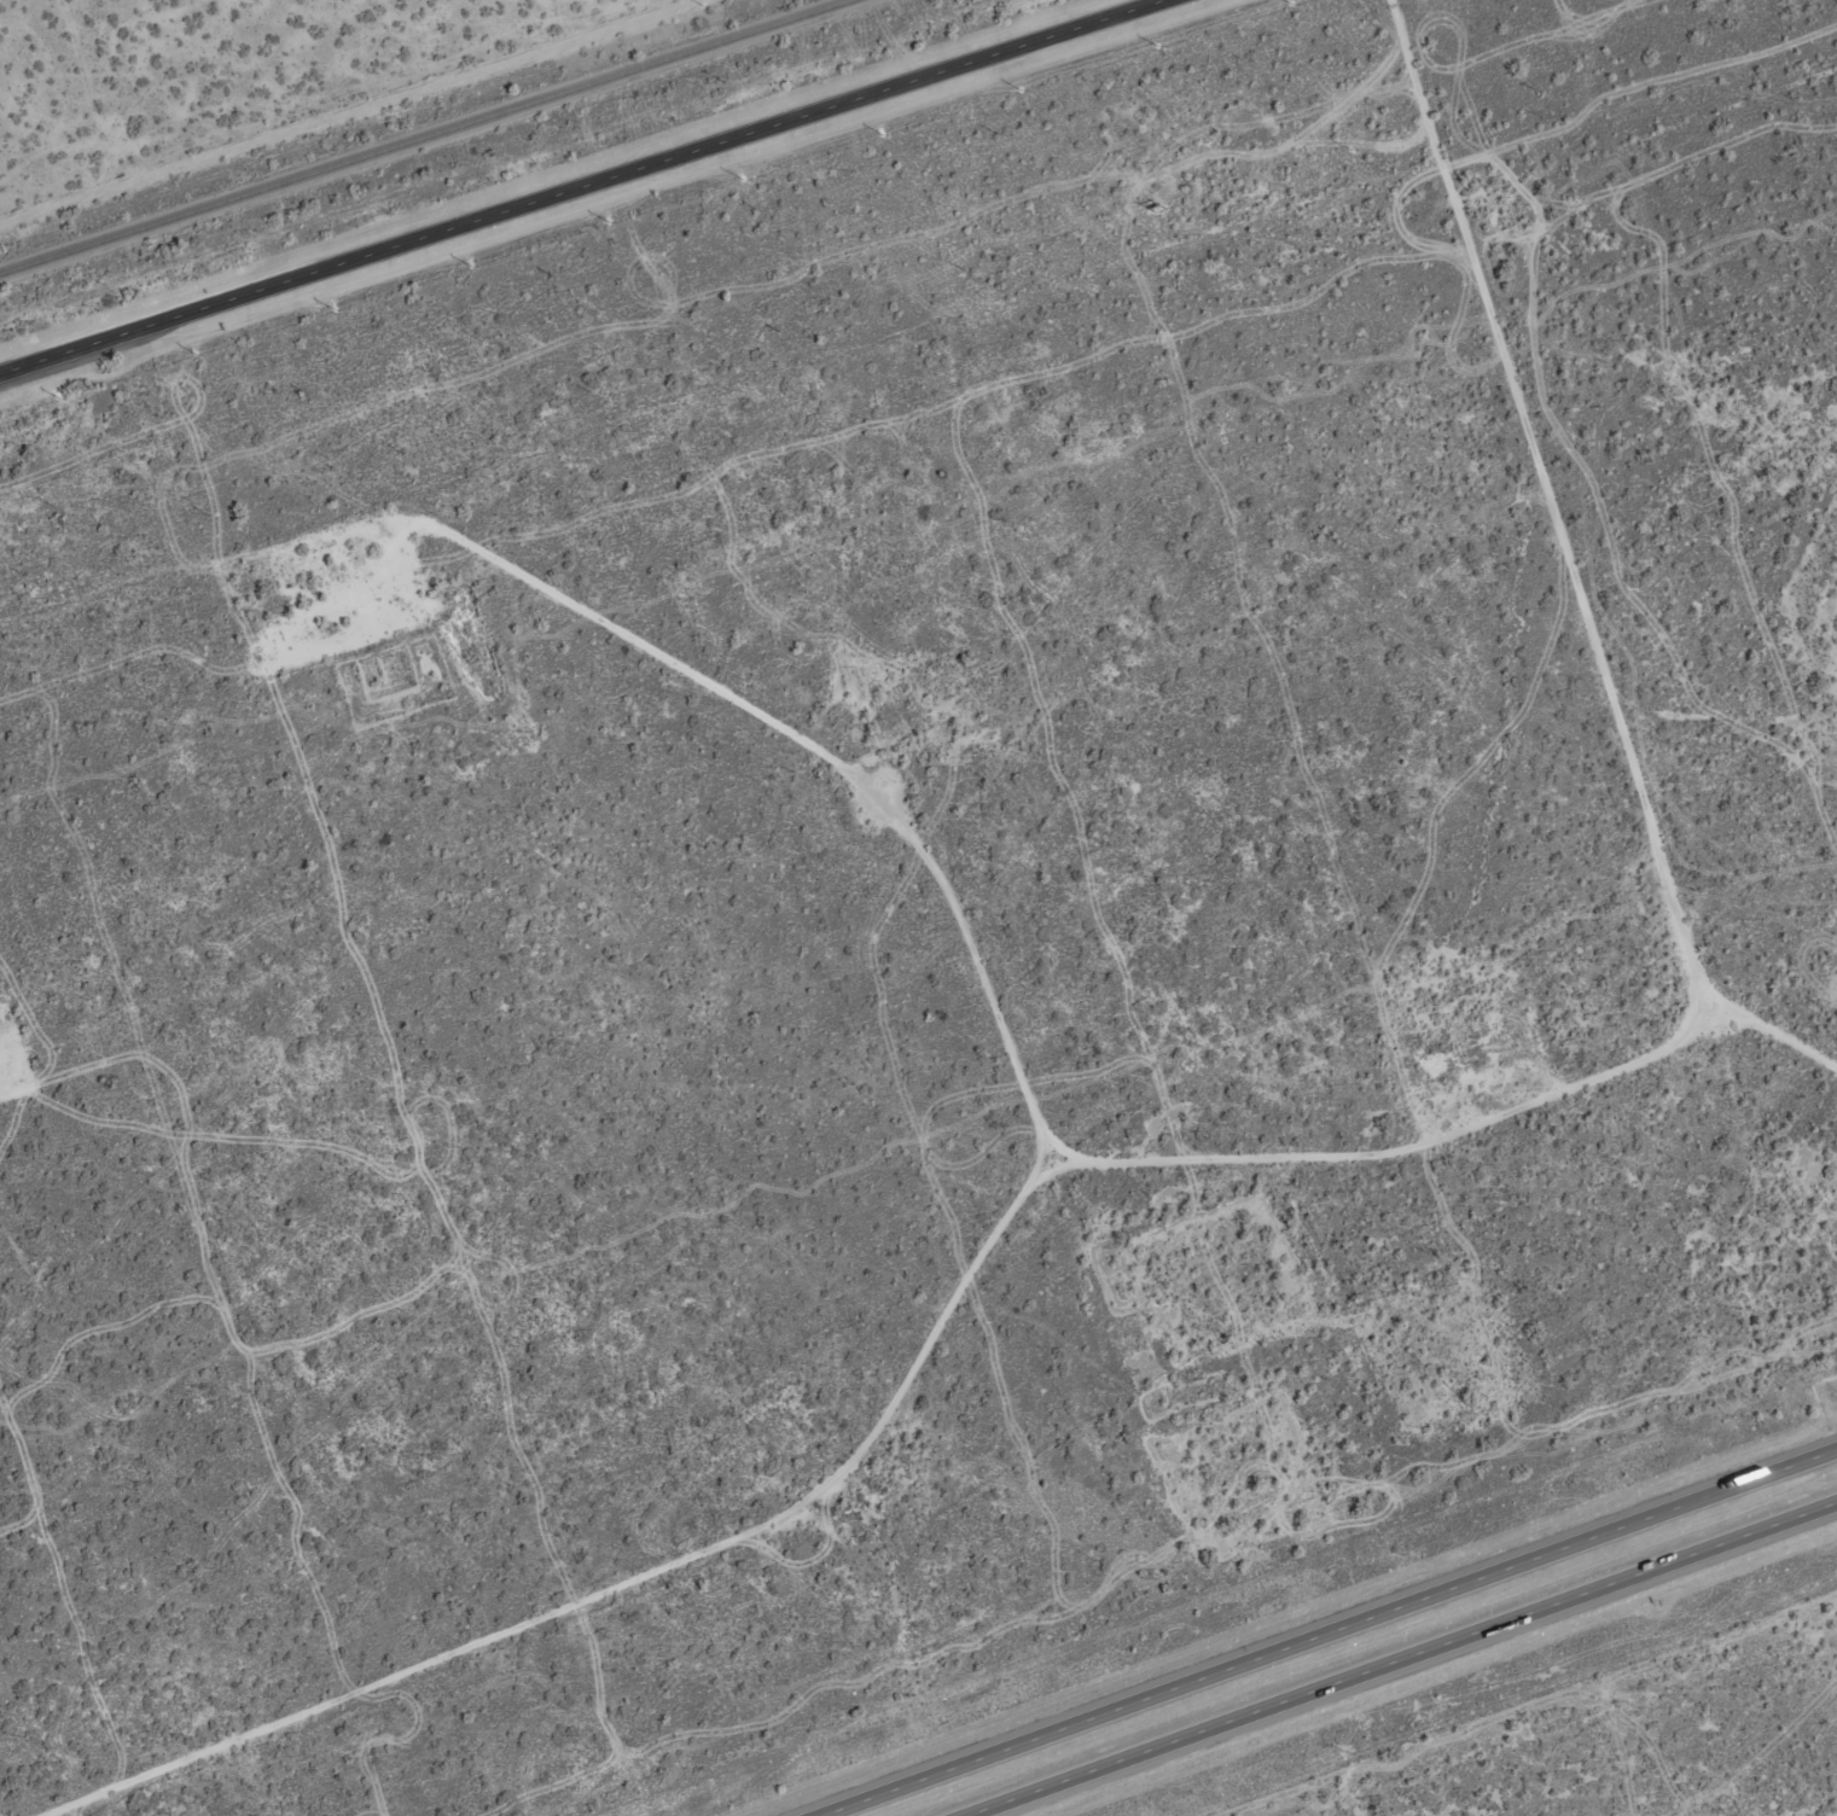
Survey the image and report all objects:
railway: (426, 136)
road: (1628, 171)
road: (580, 186)
road: (1459, 459)
road: (1124, 677)
road: (1192, 1042)
road: (1326, 1632)
road: (1399, 1658)

